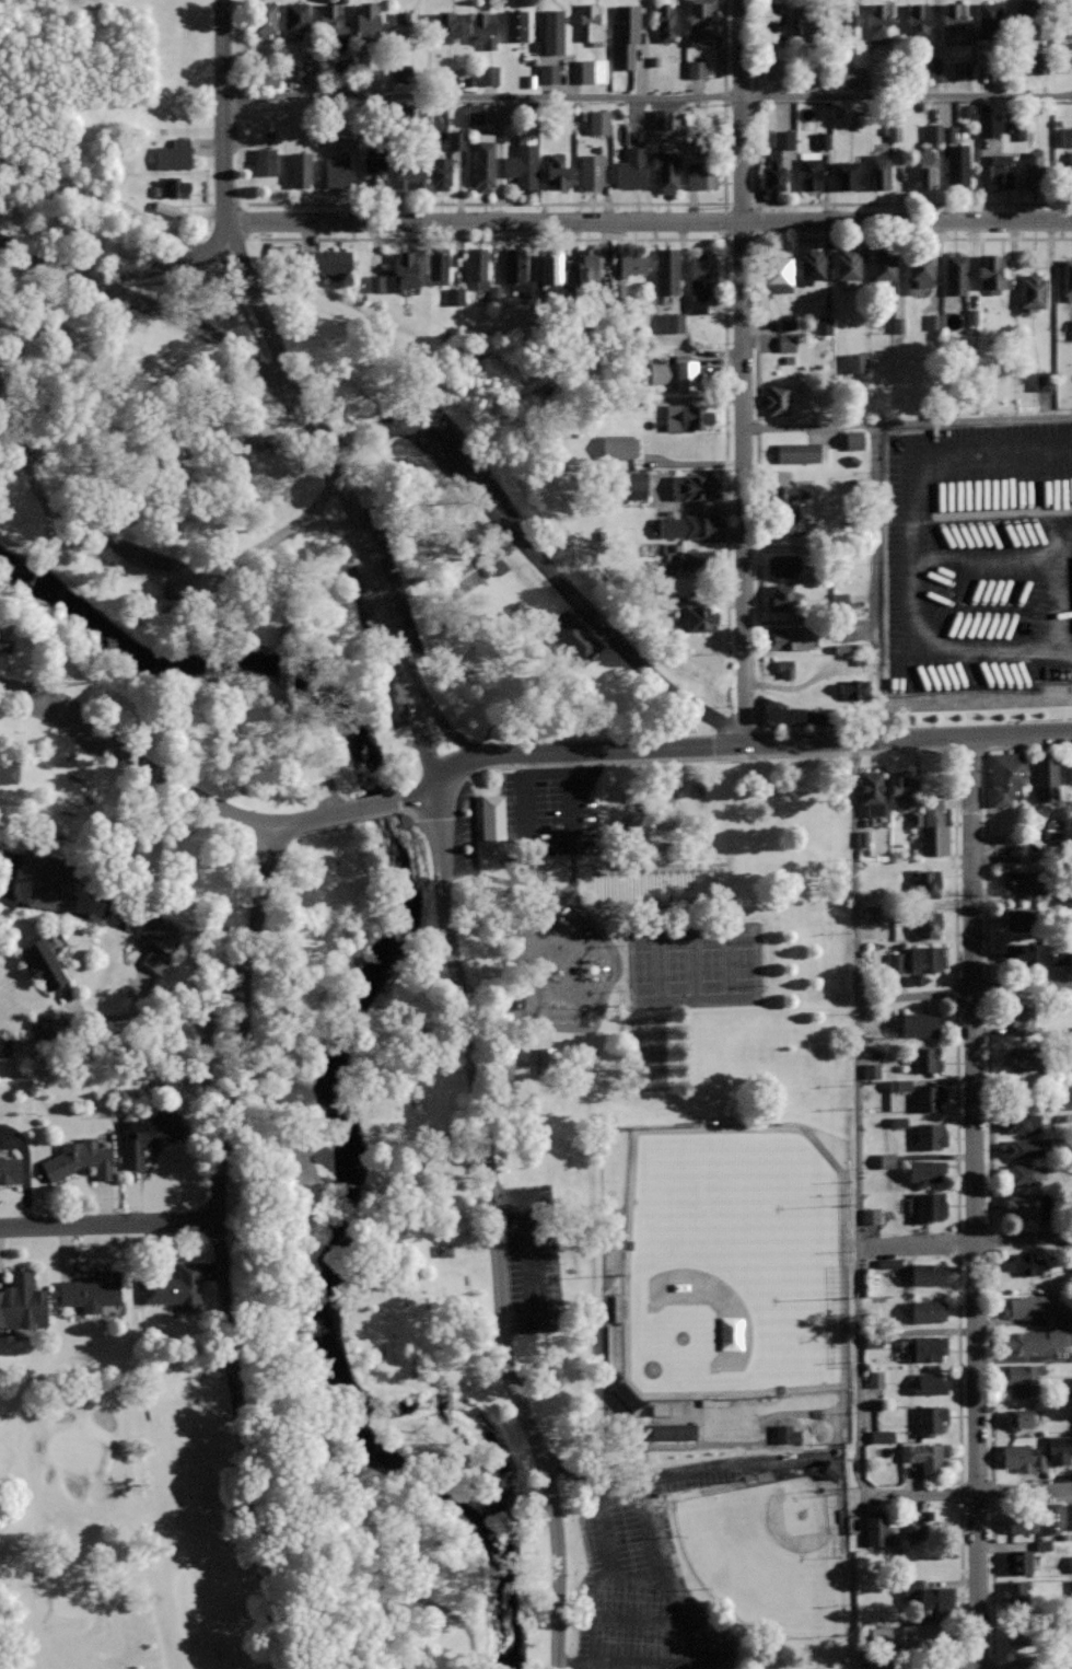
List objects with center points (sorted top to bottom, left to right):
building: (1027, 16)
building: (1062, 18)
building: (264, 19)
building: (366, 19)
building: (919, 19)
building: (956, 19)
building: (295, 20)
building: (842, 20)
building: (879, 20)
building: (990, 20)
building: (700, 21)
building: (776, 21)
building: (806, 21)
building: (665, 23)
building: (406, 24)
building: (516, 24)
building: (592, 24)
building: (335, 25)
building: (446, 27)
building: (483, 28)
building: (552, 31)
building: (627, 34)
building: (1062, 60)
building: (1038, 67)
building: (695, 69)
building: (927, 69)
building: (293, 70)
building: (591, 70)
building: (774, 70)
building: (960, 70)
building: (547, 73)
building: (487, 74)
building: (850, 77)
road: (646, 95)
road: (223, 109)
building: (473, 114)
building: (660, 118)
building: (597, 121)
building: (988, 125)
building: (893, 130)
building: (1023, 131)
building: (940, 132)
building: (1065, 137)
building: (454, 140)
building: (822, 140)
building: (701, 142)
building: (174, 153)
building: (266, 161)
building: (485, 161)
building: (524, 161)
building: (958, 164)
building: (927, 166)
building: (632, 167)
building: (301, 169)
building: (374, 169)
building: (666, 169)
building: (809, 169)
building: (1034, 169)
building: (1069, 169)
building: (337, 170)
building: (881, 170)
building: (1001, 170)
building: (558, 171)
building: (592, 171)
building: (411, 172)
building: (441, 172)
building: (774, 173)
building: (847, 174)
building: (701, 175)
building: (172, 186)
road: (585, 202)
road: (811, 202)
building: (164, 209)
road: (646, 222)
road: (702, 237)
road: (32, 255)
building: (328, 259)
building: (438, 264)
building: (632, 264)
building: (585, 265)
road: (150, 266)
building: (478, 266)
building: (812, 266)
building: (848, 266)
building: (883, 266)
building: (703, 267)
building: (551, 268)
building: (129, 269)
building: (667, 270)
building: (920, 270)
building: (517, 271)
building: (777, 274)
building: (956, 274)
building: (398, 275)
building: (992, 276)
building: (1067, 280)
building: (1033, 290)
building: (453, 295)
building: (696, 303)
road: (264, 314)
building: (673, 322)
building: (931, 322)
building: (785, 324)
road: (191, 325)
building: (897, 325)
building: (823, 326)
building: (1071, 328)
building: (785, 344)
building: (855, 362)
building: (676, 372)
road: (743, 373)
road: (755, 374)
building: (1041, 380)
building: (778, 398)
building: (692, 416)
road: (908, 424)
road: (373, 433)
building: (853, 441)
building: (619, 445)
road: (24, 452)
building: (802, 452)
road: (464, 478)
building: (630, 484)
building: (694, 486)
building: (786, 494)
road: (336, 523)
building: (781, 523)
building: (688, 524)
road: (50, 535)
parking lot: (979, 556)
road: (984, 556)
road: (908, 558)
building: (492, 559)
road: (371, 563)
building: (688, 563)
building: (783, 564)
road: (215, 567)
road: (31, 583)
road: (276, 584)
road: (1061, 588)
building: (781, 596)
building: (673, 601)
building: (838, 601)
road: (587, 609)
building: (700, 618)
road: (12, 623)
building: (789, 636)
building: (575, 639)
building: (4, 644)
parking lot: (381, 644)
building: (282, 667)
road: (283, 667)
building: (785, 667)
road: (416, 681)
building: (855, 688)
building: (794, 712)
road: (704, 715)
road: (457, 737)
road: (907, 740)
road: (424, 753)
road: (585, 753)
road: (823, 754)
road: (293, 764)
building: (8, 773)
building: (1069, 773)
building: (1006, 777)
building: (1047, 778)
road: (171, 780)
building: (901, 788)
building: (873, 791)
road: (419, 792)
road: (380, 803)
parking lot: (547, 812)
road: (984, 821)
parking lot: (465, 822)
building: (490, 826)
building: (932, 827)
building: (1051, 835)
building: (862, 838)
road: (550, 845)
road: (1022, 859)
road: (539, 873)
building: (51, 878)
road: (506, 881)
building: (1024, 881)
building: (927, 882)
park: (659, 885)
road: (263, 892)
building: (871, 915)
building: (1022, 919)
building: (928, 924)
building: (160, 938)
building: (1036, 952)
building: (927, 958)
building: (44, 961)
building: (894, 963)
road: (498, 965)
park: (697, 965)
park: (447, 982)
road: (964, 993)
road: (857, 994)
road: (598, 1007)
building: (1023, 1016)
building: (920, 1023)
building: (15, 1047)
river: (341, 1050)
road: (206, 1052)
park: (646, 1053)
road: (242, 1057)
building: (927, 1057)
building: (1025, 1057)
building: (871, 1071)
building: (898, 1086)
building: (930, 1096)
building: (1021, 1098)
road: (955, 1115)
road: (988, 1115)
building: (898, 1122)
building: (1023, 1122)
building: (148, 1134)
building: (930, 1135)
building: (1028, 1148)
building: (80, 1159)
building: (886, 1161)
building: (10, 1169)
building: (927, 1169)
building: (1023, 1172)
road: (975, 1203)
building: (1023, 1205)
building: (930, 1206)
building: (869, 1217)
road: (108, 1224)
road: (493, 1227)
road: (966, 1242)
building: (443, 1250)
road: (220, 1251)
parking lot: (532, 1260)
road: (531, 1262)
park: (733, 1263)
building: (888, 1263)
building: (1027, 1263)
building: (928, 1272)
building: (175, 1287)
building: (91, 1290)
road: (299, 1296)
building: (22, 1300)
building: (1025, 1305)
building: (617, 1308)
building: (928, 1310)
building: (1038, 1338)
building: (610, 1347)
building: (924, 1347)
road: (990, 1365)
road: (958, 1367)
road: (859, 1370)
building: (1023, 1377)
building: (874, 1380)
building: (929, 1382)
building: (621, 1398)
building: (713, 1403)
road: (450, 1406)
road: (149, 1417)
building: (1024, 1417)
building: (931, 1418)
building: (672, 1433)
building: (785, 1435)
building: (881, 1436)
building: (1059, 1450)
building: (924, 1456)
building: (1023, 1457)
building: (830, 1472)
road: (677, 1473)
building: (785, 1475)
road: (965, 1495)
road: (255, 1508)
building: (1069, 1515)
building: (840, 1516)
building: (1051, 1517)
park: (126, 1521)
building: (1021, 1521)
building: (879, 1529)
building: (918, 1532)
building: (1042, 1545)
park: (769, 1553)
road: (656, 1554)
building: (1018, 1561)
building: (1070, 1564)
parking lot: (646, 1573)
road: (960, 1581)
road: (616, 1583)
road: (992, 1583)
building: (1070, 1588)
building: (929, 1595)
building: (1015, 1595)
road: (444, 1608)
road: (389, 1623)
road: (671, 1626)
building: (921, 1634)
building: (878, 1635)
building: (1019, 1638)
road: (576, 1665)
road: (642, 1666)

